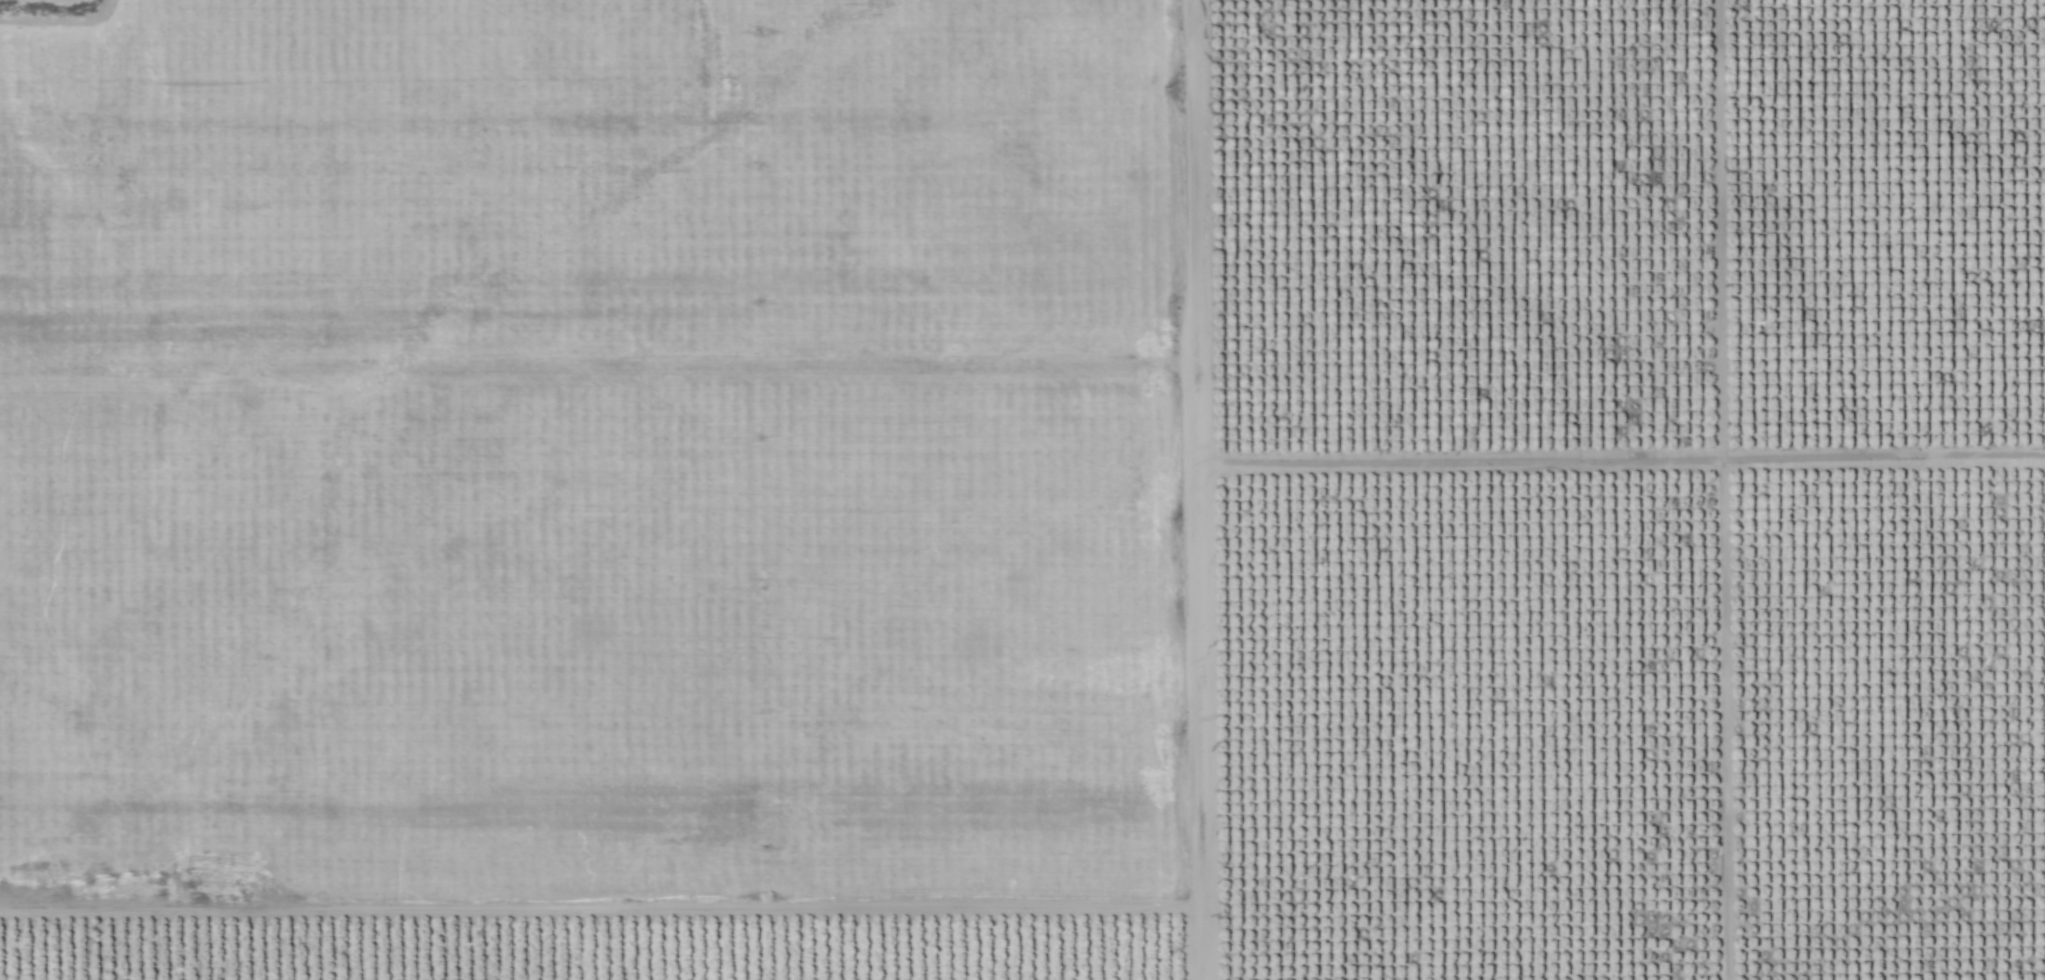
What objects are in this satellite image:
road: (1836, 112)
road: (1193, 490)

